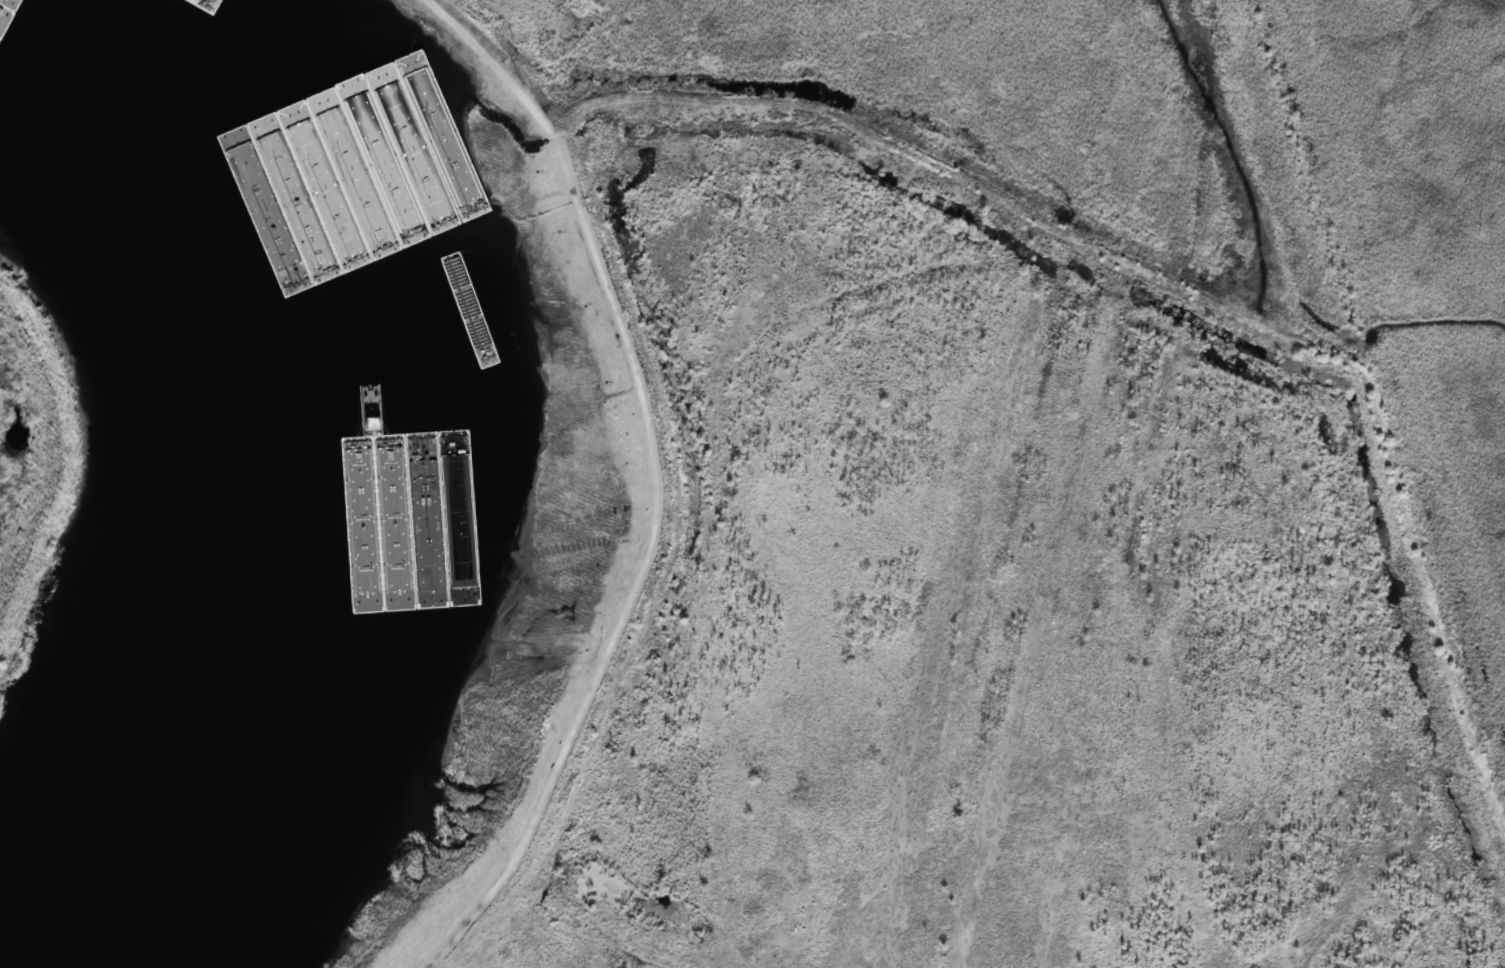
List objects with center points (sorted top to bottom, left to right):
road: (655, 478)

